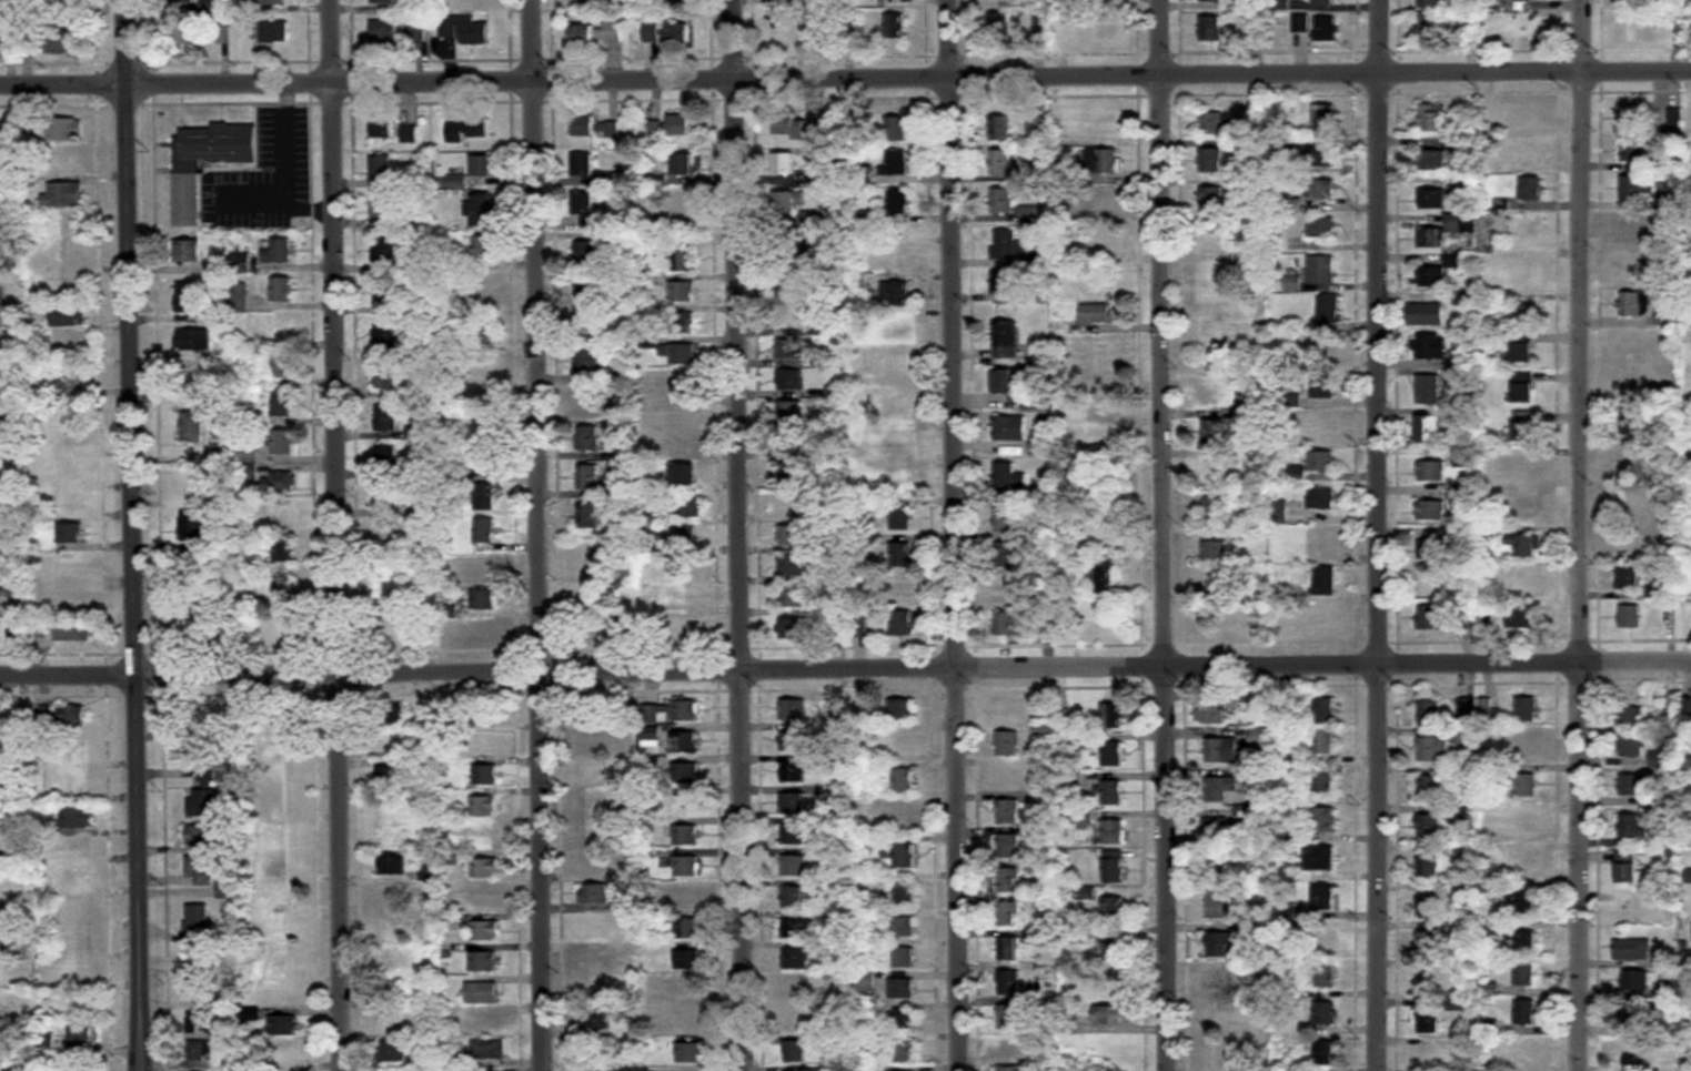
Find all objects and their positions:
building: (1528, 0)
building: (1210, 1)
building: (181, 2)
building: (275, 2)
building: (382, 2)
building: (477, 2)
building: (789, 2)
building: (1323, 2)
building: (680, 3)
building: (1429, 3)
building: (1637, 3)
building: (1106, 24)
building: (1300, 24)
building: (1528, 24)
building: (999, 26)
building: (1429, 26)
building: (895, 27)
building: (1638, 27)
building: (1210, 29)
building: (1326, 30)
building: (463, 31)
building: (272, 32)
building: (384, 32)
building: (183, 33)
building: (667, 33)
building: (223, 34)
building: (597, 34)
building: (794, 34)
building: (63, 42)
road: (910, 77)
road: (66, 82)
building: (1433, 117)
building: (1528, 117)
building: (1325, 118)
building: (1631, 118)
building: (1210, 122)
building: (681, 123)
building: (480, 127)
building: (594, 127)
building: (799, 127)
building: (1107, 127)
building: (383, 128)
building: (655, 128)
building: (897, 128)
building: (1000, 128)
building: (1037, 128)
building: (64, 129)
building: (455, 132)
building: (409, 135)
building: (1634, 149)
building: (1531, 152)
building: (1322, 155)
building: (1432, 159)
building: (1210, 160)
building: (1001, 161)
building: (1103, 161)
building: (784, 162)
building: (896, 162)
building: (683, 163)
building: (482, 165)
building: (584, 165)
building: (383, 171)
road: (284, 172)
building: (607, 178)
building: (456, 181)
building: (1635, 186)
building: (1530, 188)
building: (1321, 189)
building: (188, 193)
building: (63, 195)
road: (252, 195)
building: (1432, 198)
building: (1212, 200)
building: (897, 201)
building: (1001, 201)
building: (1103, 201)
building: (684, 202)
building: (786, 202)
building: (584, 203)
building: (480, 205)
building: (387, 210)
building: (1029, 215)
building: (1634, 225)
building: (1322, 226)
building: (1442, 231)
building: (1007, 244)
building: (1104, 244)
building: (481, 249)
building: (188, 251)
building: (278, 251)
building: (384, 252)
building: (66, 253)
building: (586, 253)
building: (1496, 260)
building: (682, 261)
building: (240, 263)
building: (1637, 263)
building: (218, 267)
building: (1322, 270)
building: (1528, 272)
building: (1432, 275)
building: (1220, 276)
building: (591, 283)
building: (1001, 283)
building: (791, 286)
building: (281, 289)
building: (482, 290)
building: (682, 291)
building: (386, 292)
building: (895, 294)
building: (187, 296)
building: (238, 299)
building: (0, 303)
building: (1635, 303)
building: (1330, 307)
building: (1428, 314)
building: (67, 315)
building: (1098, 315)
building: (1529, 315)
building: (1667, 316)
building: (682, 322)
building: (1212, 326)
building: (483, 330)
building: (899, 332)
building: (385, 334)
building: (193, 339)
building: (1005, 340)
building: (1327, 342)
building: (1632, 343)
building: (1431, 345)
building: (791, 348)
building: (1526, 351)
building: (1084, 352)
building: (683, 353)
building: (872, 356)
building: (586, 360)
building: (281, 366)
building: (899, 367)
building: (483, 371)
building: (68, 377)
building: (385, 377)
building: (1, 380)
building: (789, 380)
building: (1632, 383)
building: (683, 384)
building: (1323, 384)
building: (1018, 387)
building: (1526, 387)
building: (1430, 388)
building: (1214, 395)
building: (587, 398)
building: (281, 404)
building: (899, 405)
building: (1, 410)
building: (1100, 410)
building: (791, 412)
building: (683, 415)
building: (385, 418)
building: (1322, 422)
building: (1632, 423)
building: (1526, 426)
building: (1008, 427)
building: (192, 428)
building: (1430, 428)
building: (1215, 432)
building: (586, 437)
building: (68, 439)
building: (282, 442)
building: (683, 443)
building: (791, 443)
building: (899, 443)
building: (1040, 445)
building: (245, 454)
building: (385, 458)
building: (1322, 461)
building: (1631, 462)
building: (1527, 468)
building: (69, 471)
building: (1214, 471)
building: (1432, 471)
building: (685, 474)
building: (792, 474)
building: (1007, 476)
building: (587, 477)
building: (900, 479)
building: (279, 483)
building: (193, 484)
building: (385, 496)
building: (484, 496)
building: (1323, 498)
building: (1631, 501)
building: (70, 503)
building: (424, 506)
building: (1, 507)
building: (686, 507)
building: (1527, 508)
building: (1215, 509)
building: (1432, 511)
building: (282, 512)
building: (588, 515)
building: (900, 518)
building: (1006, 521)
building: (191, 525)
building: (1096, 525)
building: (484, 531)
building: (69, 533)
road: (140, 535)
road: (341, 535)
road: (543, 535)
road: (741, 535)
road: (957, 535)
road: (1171, 535)
road: (1386, 535)
road: (1592, 535)
building: (791, 536)
building: (683, 537)
building: (1631, 539)
building: (1326, 542)
building: (1524, 545)
building: (1437, 546)
building: (282, 550)
building: (1216, 550)
building: (900, 554)
building: (1004, 555)
building: (71, 564)
building: (792, 566)
building: (483, 568)
building: (1104, 573)
building: (1211, 577)
building: (1631, 577)
building: (1325, 580)
building: (1522, 584)
building: (283, 589)
building: (1006, 590)
building: (902, 593)
building: (793, 597)
building: (483, 599)
building: (686, 599)
building: (71, 603)
building: (0, 605)
building: (194, 616)
building: (1631, 616)
building: (1526, 617)
building: (1325, 618)
building: (1431, 618)
building: (1486, 619)
building: (902, 623)
building: (1008, 625)
building: (591, 626)
building: (836, 626)
building: (38, 628)
building: (284, 628)
building: (792, 628)
building: (17, 629)
building: (71, 630)
building: (476, 630)
building: (392, 633)
road: (845, 669)
building: (1670, 707)
building: (1685, 707)
building: (793, 709)
building: (899, 709)
building: (1527, 709)
building: (1325, 710)
building: (1430, 710)
building: (1467, 710)
building: (670, 713)
building: (1209, 713)
building: (194, 715)
building: (592, 715)
building: (71, 716)
building: (1111, 716)
building: (1630, 717)
building: (39, 721)
building: (218, 729)
building: (1468, 735)
building: (1261, 737)
building: (686, 741)
building: (793, 741)
building: (1084, 742)
building: (1325, 742)
building: (596, 744)
building: (1007, 744)
building: (903, 745)
building: (1523, 746)
building: (1632, 746)
building: (74, 748)
building: (1433, 749)
building: (1224, 750)
building: (1111, 754)
building: (1658, 760)
building: (42, 761)
building: (793, 772)
building: (283, 774)
building: (685, 774)
building: (485, 775)
building: (205, 776)
building: (390, 777)
building: (1007, 778)
building: (903, 781)
building: (1325, 781)
building: (76, 784)
building: (1632, 785)
building: (1527, 786)
building: (1220, 788)
building: (1429, 788)
building: (40, 792)
building: (1111, 792)
building: (596, 802)
building: (202, 804)
building: (283, 804)
building: (794, 804)
building: (483, 806)
building: (1007, 812)
building: (76, 818)
building: (903, 819)
building: (1325, 819)
building: (1524, 826)
building: (1632, 826)
building: (1218, 828)
building: (1428, 828)
building: (595, 832)
building: (1113, 832)
building: (795, 835)
building: (686, 836)
building: (202, 837)
building: (482, 838)
building: (1006, 847)
building: (69, 848)
building: (900, 855)
building: (1319, 858)
building: (391, 865)
building: (597, 865)
building: (1524, 865)
building: (795, 866)
building: (686, 867)
building: (1113, 867)
building: (1428, 867)
building: (484, 868)
building: (1629, 868)
building: (203, 869)
building: (76, 878)
building: (3, 879)
building: (1008, 880)
building: (224, 890)
building: (594, 893)
building: (904, 893)
building: (1085, 893)
building: (393, 896)
building: (799, 897)
building: (682, 898)
building: (1325, 898)
building: (482, 900)
building: (1219, 902)
building: (1520, 902)
building: (1429, 905)
building: (77, 909)
building: (1114, 910)
building: (1, 911)
building: (1007, 915)
building: (195, 920)
building: (900, 927)
building: (799, 928)
building: (687, 929)
building: (485, 930)
building: (284, 932)
building: (1326, 937)
building: (0, 941)
building: (1524, 941)
building: (1218, 943)
building: (1428, 943)
building: (1008, 949)
building: (1113, 949)
building: (1632, 950)
building: (900, 957)
building: (796, 959)
building: (688, 960)
building: (483, 962)
building: (592, 962)
building: (0, 971)
building: (70, 971)
building: (1047, 972)
building: (1526, 973)
building: (1325, 974)
building: (1214, 976)
building: (864, 981)
building: (1635, 981)
building: (1008, 982)
building: (902, 988)
building: (685, 989)
building: (199, 990)
building: (795, 990)
building: (1115, 990)
building: (481, 993)
building: (4, 1003)
building: (1047, 1007)
building: (1526, 1011)
building: (1325, 1013)
building: (1114, 1014)
building: (1218, 1017)
building: (1634, 1017)
building: (1008, 1018)
building: (595, 1020)
building: (902, 1020)
building: (688, 1021)
building: (796, 1021)
building: (1427, 1021)
building: (197, 1022)
building: (481, 1024)
building: (281, 1025)
building: (81, 1035)
building: (602, 1042)
building: (1007, 1049)
building: (487, 1050)
building: (903, 1051)
building: (1632, 1051)
building: (199, 1052)
building: (389, 1052)
building: (795, 1052)
building: (1325, 1052)
building: (1526, 1052)
building: (688, 1053)
building: (1220, 1054)
building: (1429, 1059)
building: (251, 1067)
building: (1015, 1069)
building: (595, 1070)

